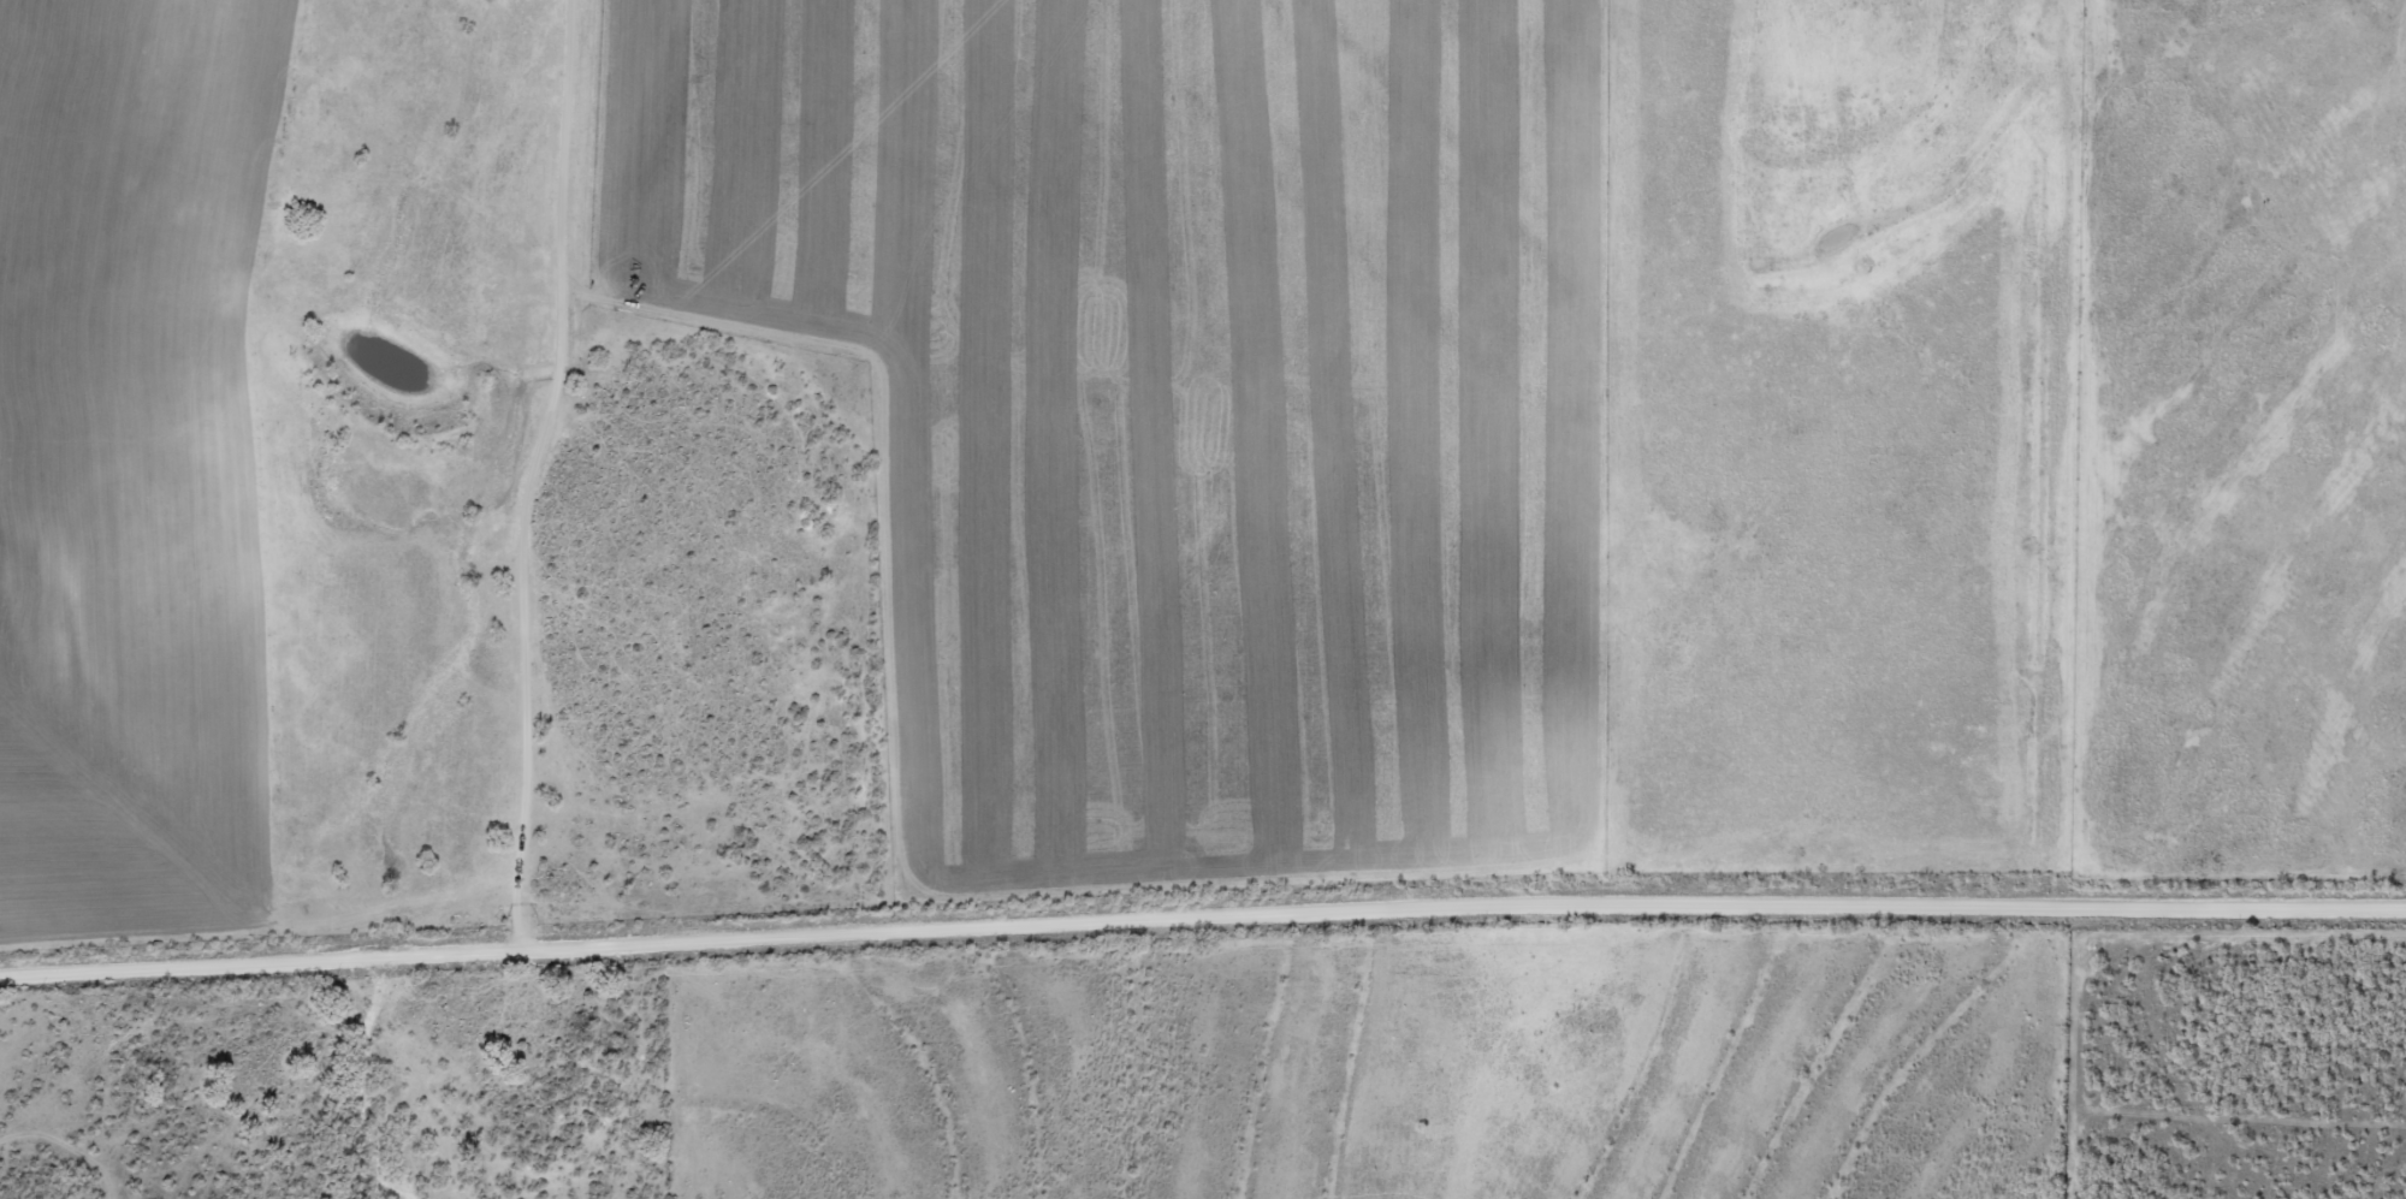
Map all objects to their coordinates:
road: (538, 475)
road: (1202, 918)

